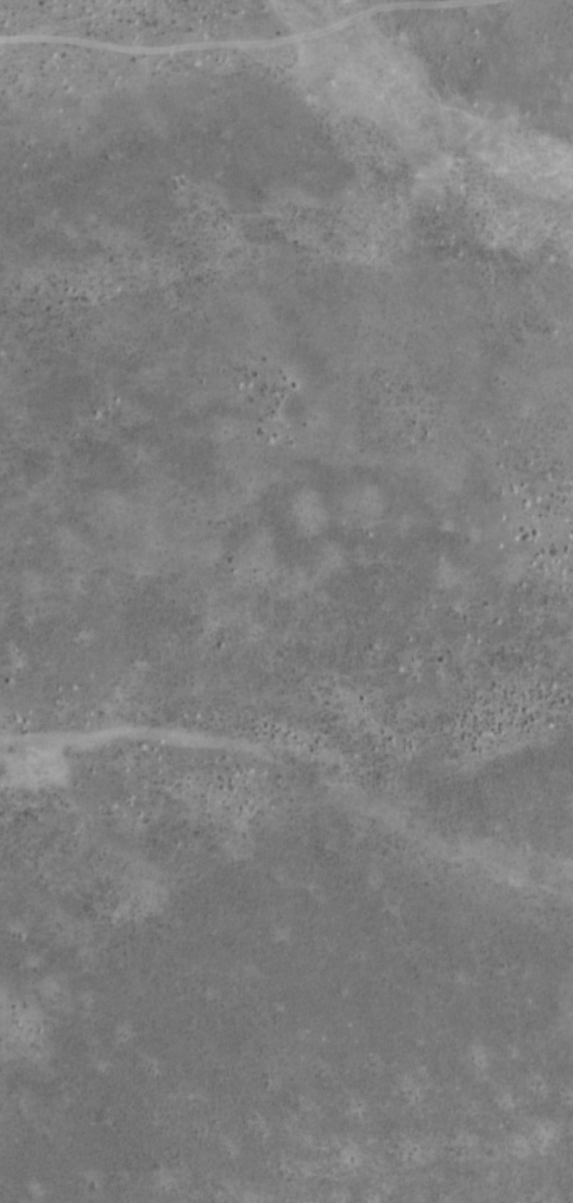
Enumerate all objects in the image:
road: (257, 44)

